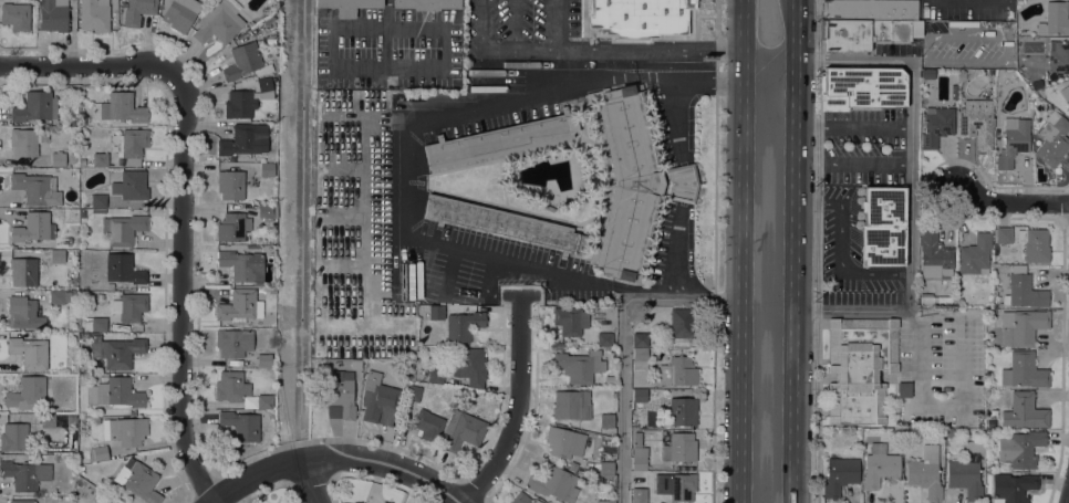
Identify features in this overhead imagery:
road: (387, 2)
building: (113, 3)
building: (426, 3)
building: (347, 6)
building: (138, 11)
building: (179, 13)
building: (53, 14)
building: (94, 14)
building: (15, 15)
building: (637, 18)
building: (268, 19)
road: (744, 19)
building: (1055, 19)
building: (219, 21)
road: (553, 22)
building: (864, 22)
road: (479, 23)
road: (513, 23)
road: (793, 25)
road: (1007, 36)
building: (270, 40)
road: (533, 45)
road: (496, 46)
road: (588, 46)
road: (683, 49)
building: (1058, 55)
building: (1029, 56)
road: (852, 59)
building: (246, 62)
road: (85, 64)
building: (927, 73)
road: (672, 80)
building: (1036, 83)
building: (266, 87)
building: (861, 88)
building: (953, 92)
building: (1068, 93)
building: (1067, 102)
building: (239, 104)
building: (35, 106)
building: (120, 107)
building: (977, 122)
building: (936, 125)
road: (853, 126)
building: (1052, 138)
building: (247, 139)
building: (499, 139)
building: (1013, 140)
building: (23, 142)
building: (129, 146)
building: (72, 157)
building: (58, 158)
building: (101, 159)
road: (408, 161)
road: (852, 164)
building: (267, 169)
building: (635, 181)
building: (230, 184)
building: (131, 185)
road: (911, 185)
building: (32, 187)
building: (98, 201)
road: (1011, 203)
building: (264, 210)
building: (81, 212)
road: (1042, 217)
building: (505, 224)
building: (232, 227)
building: (882, 227)
building: (123, 228)
road: (300, 229)
building: (33, 230)
building: (1004, 234)
building: (1034, 244)
road: (842, 245)
building: (253, 247)
road: (818, 251)
building: (934, 254)
building: (975, 254)
building: (56, 255)
building: (243, 265)
building: (123, 269)
road: (743, 270)
building: (23, 271)
road: (792, 277)
road: (671, 284)
building: (110, 285)
road: (181, 287)
building: (271, 289)
building: (1024, 290)
building: (59, 296)
building: (934, 298)
building: (131, 306)
building: (240, 306)
road: (851, 310)
building: (436, 312)
building: (23, 313)
road: (915, 314)
building: (568, 321)
building: (683, 323)
building: (98, 324)
building: (463, 325)
building: (1021, 326)
building: (37, 334)
building: (993, 337)
building: (604, 339)
building: (640, 339)
building: (233, 342)
road: (626, 345)
building: (116, 350)
building: (31, 352)
building: (640, 358)
building: (264, 359)
building: (355, 363)
building: (468, 366)
building: (579, 366)
building: (859, 368)
building: (1024, 370)
building: (677, 371)
building: (436, 376)
building: (610, 379)
building: (231, 386)
building: (904, 389)
building: (29, 391)
building: (116, 392)
building: (413, 392)
building: (340, 395)
building: (640, 395)
building: (378, 400)
building: (264, 401)
road: (515, 404)
road: (964, 404)
building: (571, 405)
building: (683, 411)
building: (1024, 411)
building: (56, 419)
building: (606, 420)
building: (241, 425)
building: (427, 425)
building: (125, 430)
building: (463, 430)
building: (949, 432)
building: (13, 437)
building: (563, 442)
building: (679, 448)
building: (1020, 448)
building: (639, 452)
building: (98, 453)
road: (387, 463)
building: (572, 465)
building: (880, 465)
building: (605, 469)
building: (967, 471)
building: (925, 472)
building: (25, 474)
building: (840, 474)
road: (259, 475)
building: (138, 480)
road: (311, 481)
building: (554, 483)
building: (675, 486)
building: (1013, 486)
building: (521, 497)
building: (103, 499)
building: (639, 500)
building: (21, 501)
building: (537, 501)
building: (605, 501)
road: (214, 502)
building: (384, 502)

